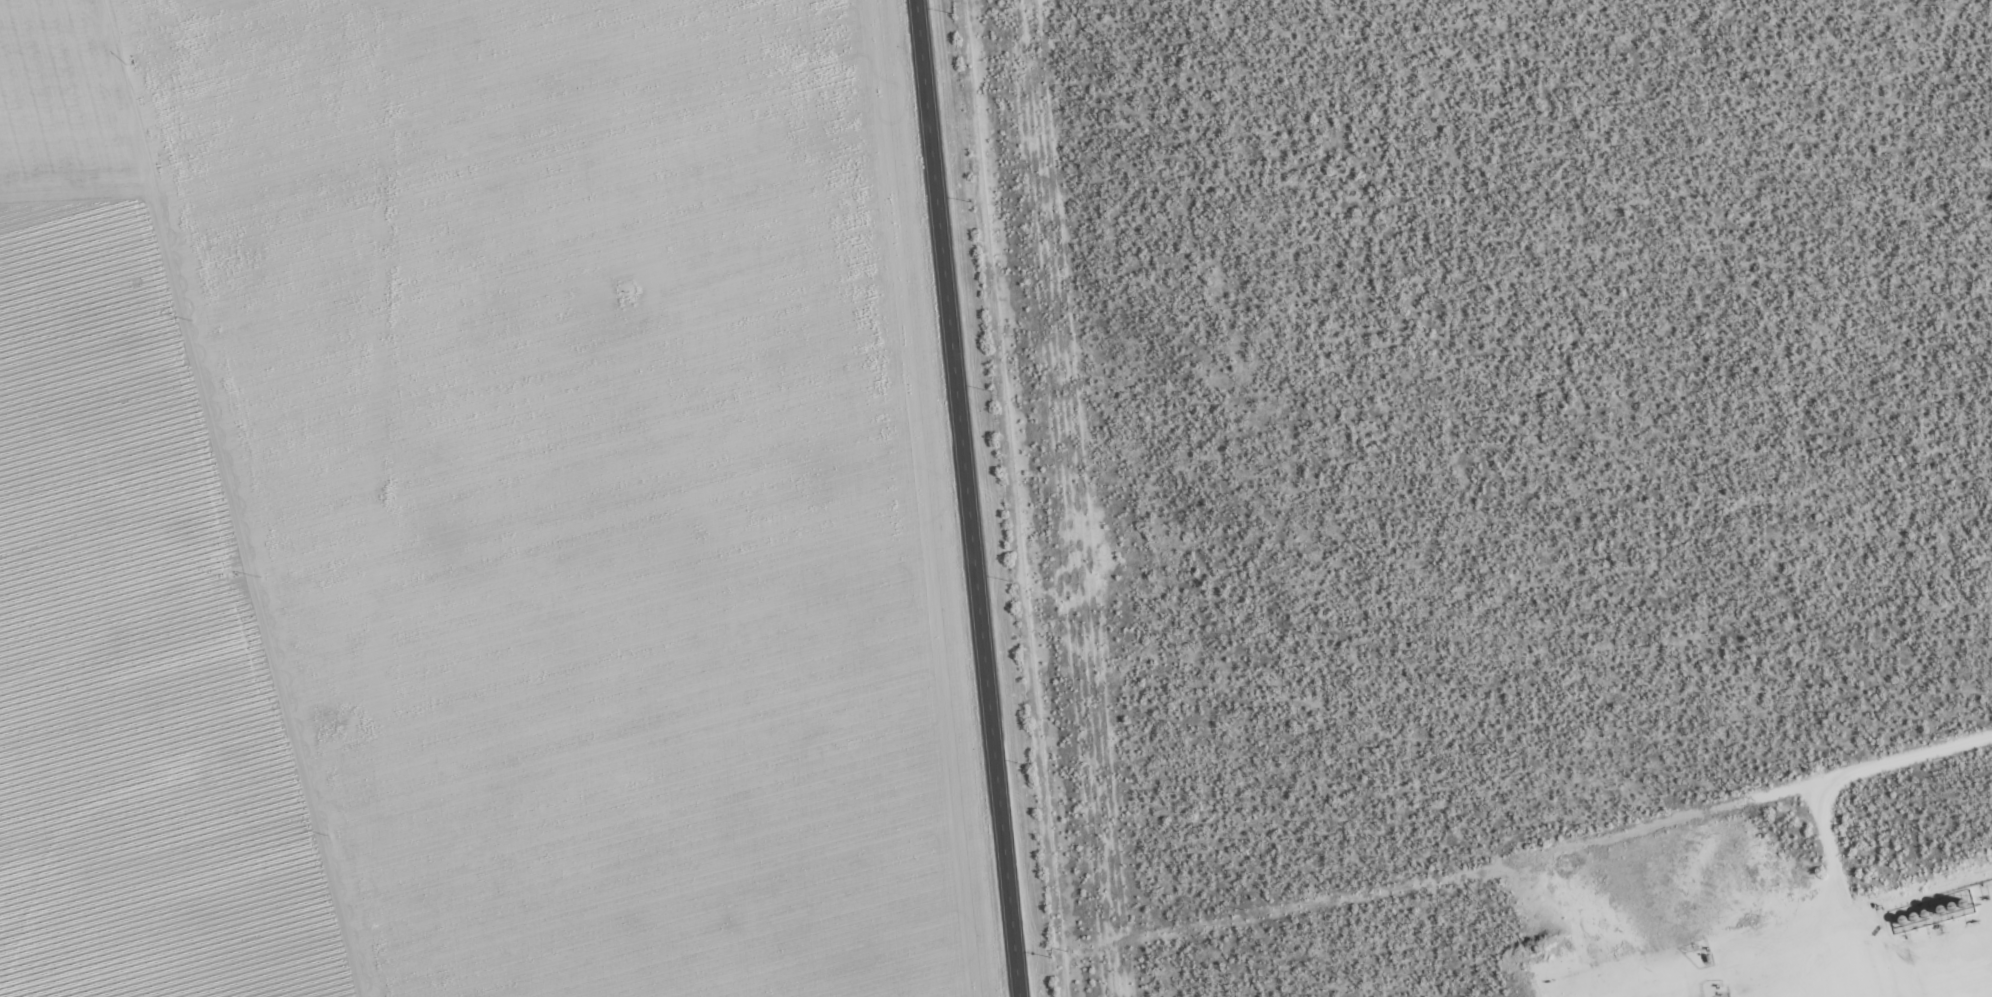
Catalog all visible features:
road: (970, 498)

